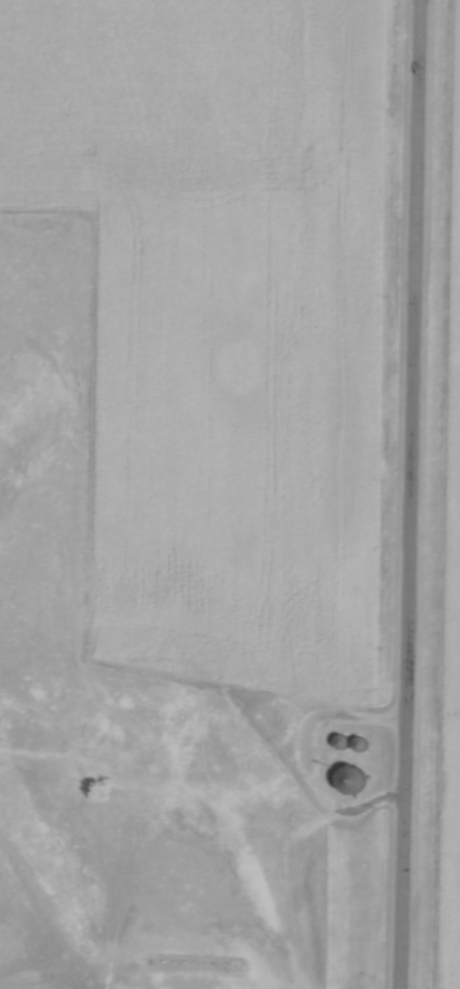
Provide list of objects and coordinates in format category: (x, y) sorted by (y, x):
road: (409, 494)
building: (340, 744)
building: (353, 781)

